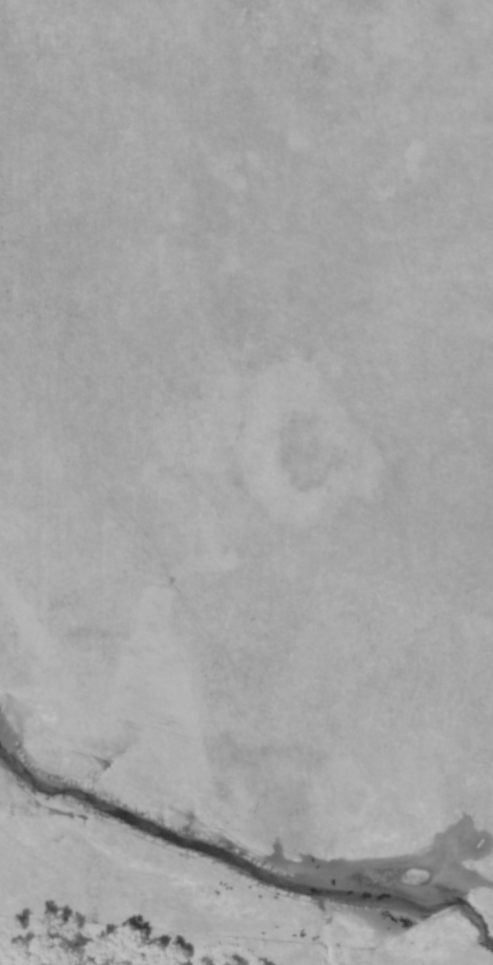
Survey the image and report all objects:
river: (249, 866)

